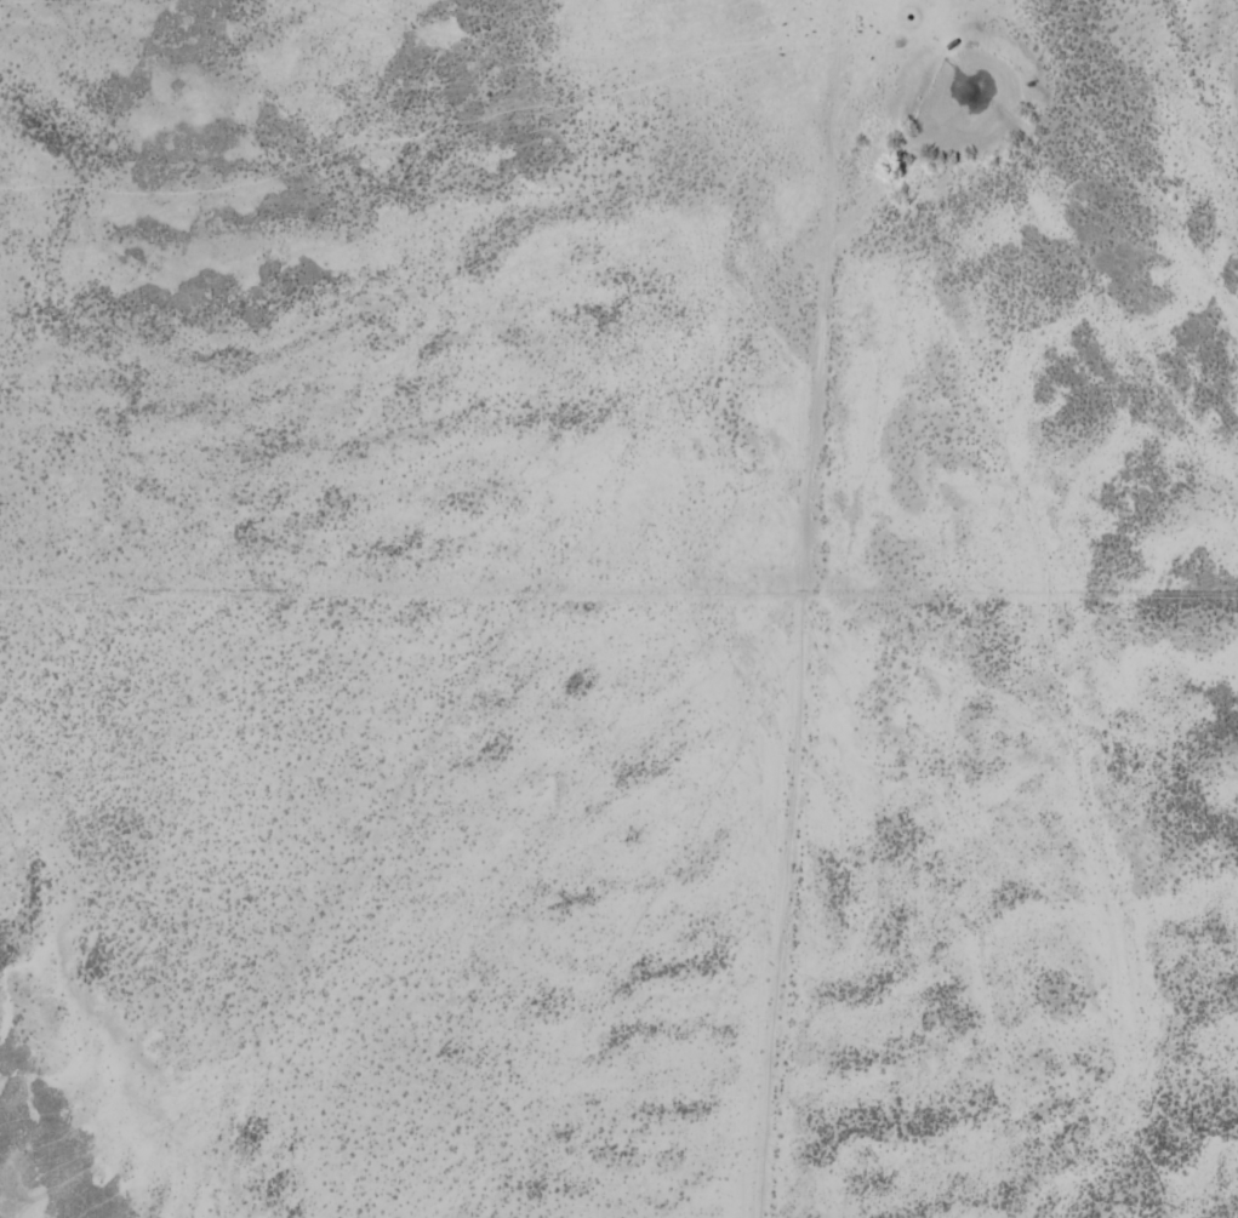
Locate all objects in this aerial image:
road: (768, 606)

